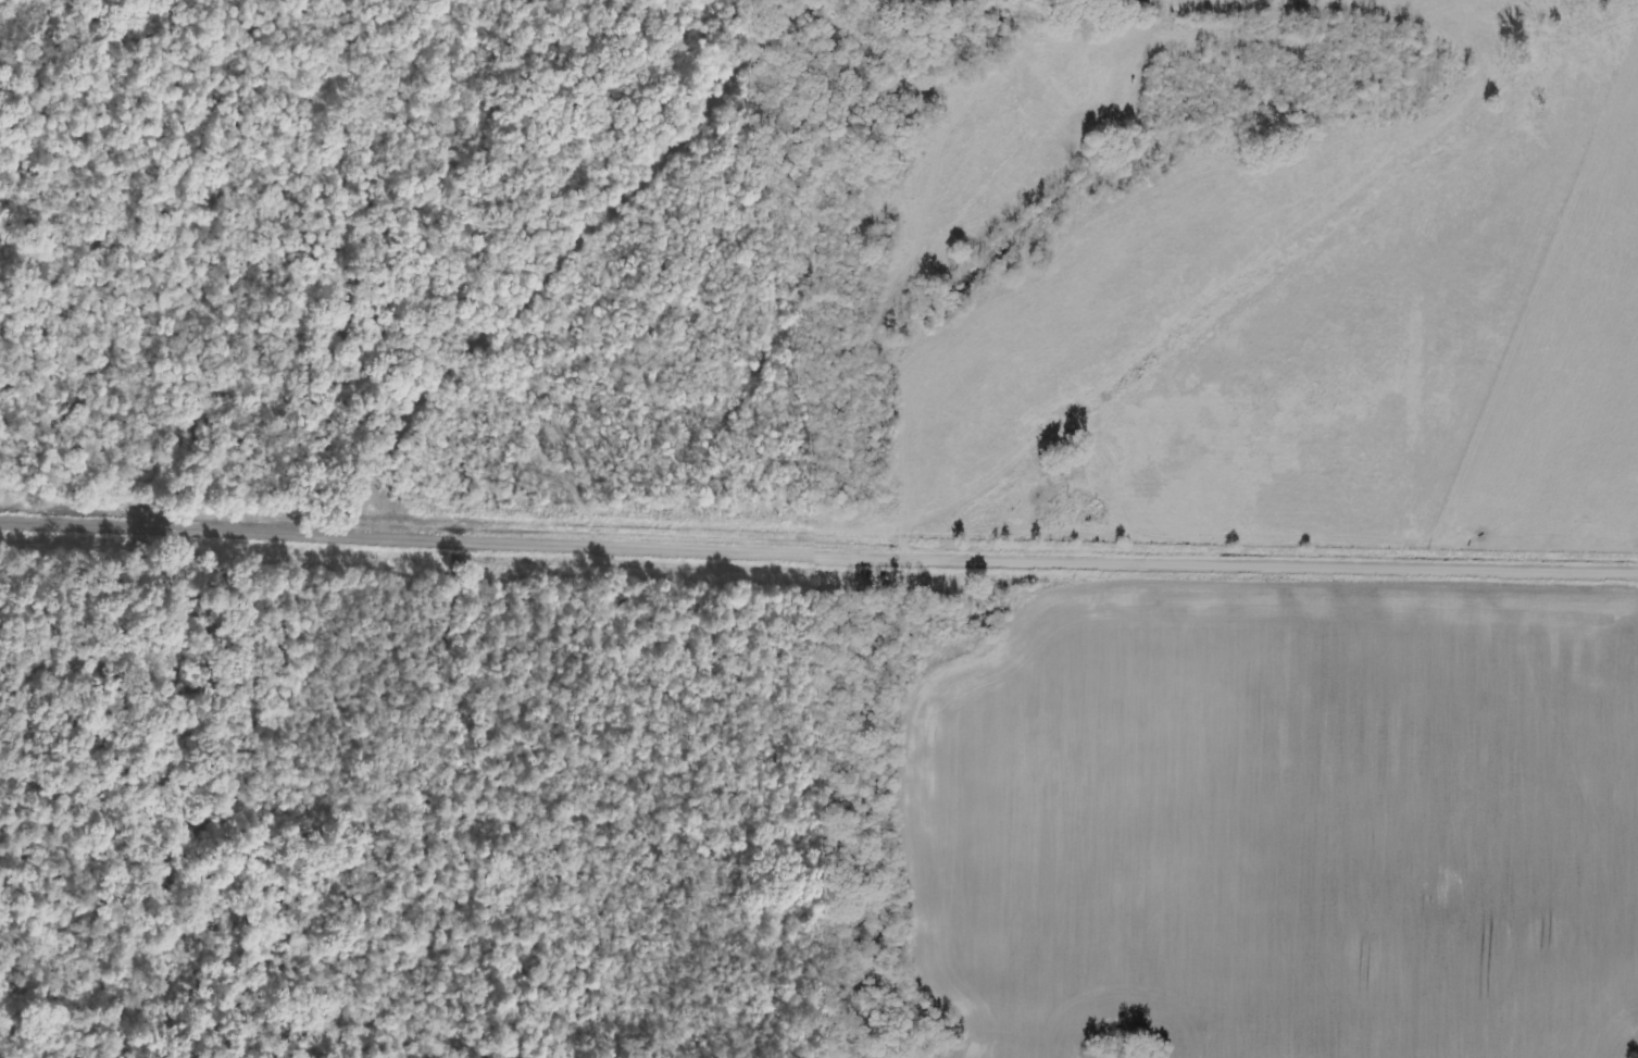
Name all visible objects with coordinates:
road: (818, 550)

